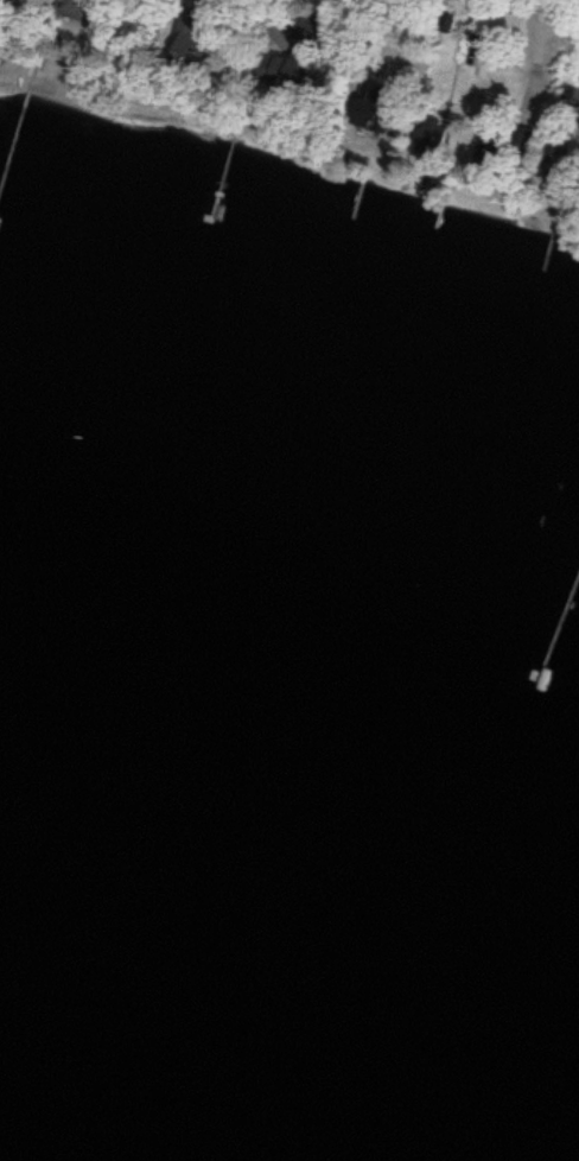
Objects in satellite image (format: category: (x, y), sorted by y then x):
building: (72, 9)
building: (189, 34)
building: (285, 72)
building: (368, 103)

